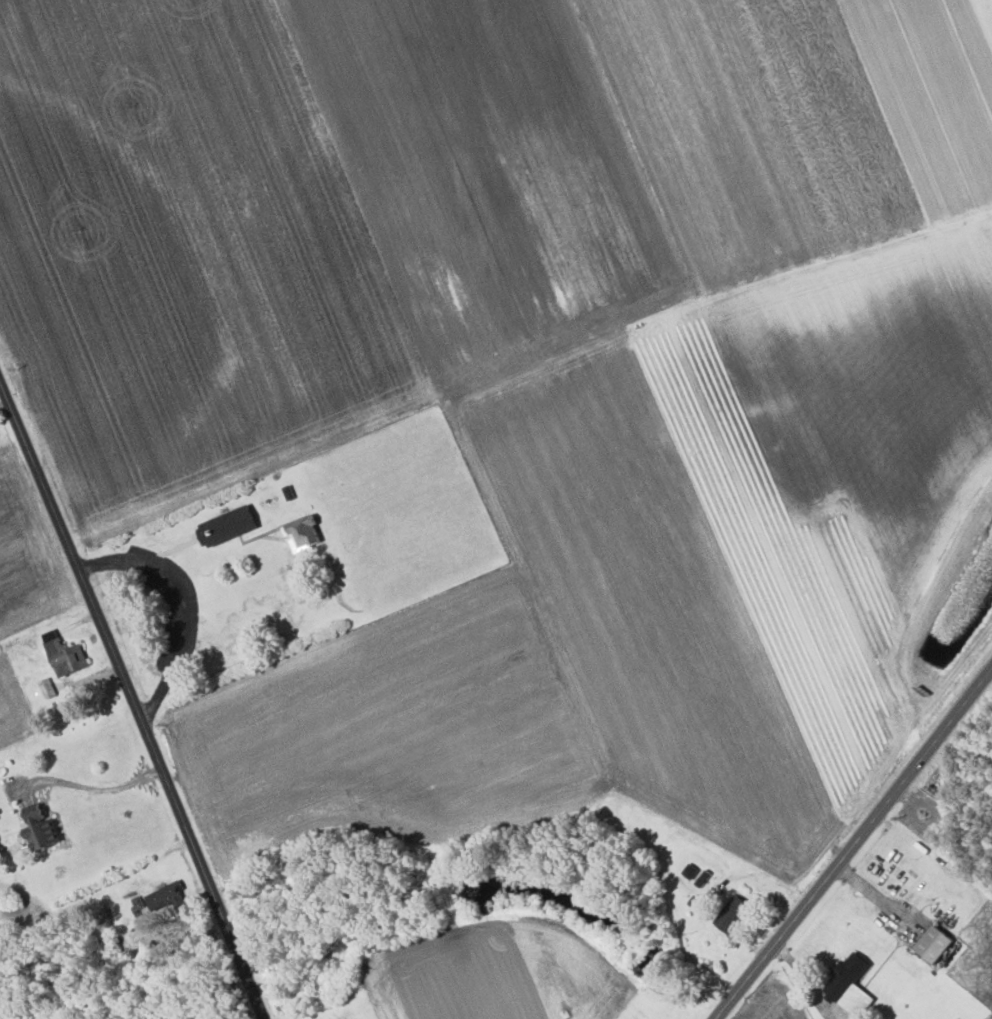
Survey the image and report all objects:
building: (229, 524)
building: (302, 532)
road: (185, 603)
road: (130, 706)
road: (92, 787)
building: (40, 828)
road: (854, 843)
road: (99, 898)
building: (733, 913)
building: (934, 943)
building: (850, 984)

